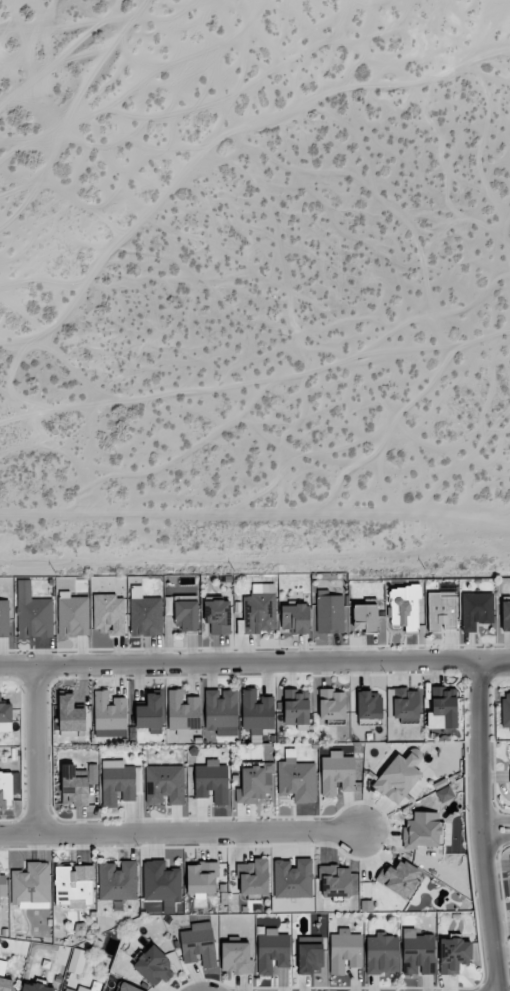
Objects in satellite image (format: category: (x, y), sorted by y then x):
building: (404, 607)
building: (441, 610)
building: (476, 610)
building: (258, 611)
building: (32, 612)
building: (145, 613)
building: (329, 613)
building: (72, 614)
building: (109, 614)
building: (187, 614)
building: (218, 616)
building: (505, 616)
building: (4, 618)
building: (365, 618)
building: (295, 619)
road: (254, 663)
building: (404, 702)
building: (331, 704)
building: (368, 705)
building: (296, 708)
building: (442, 708)
building: (505, 709)
building: (183, 711)
building: (5, 712)
building: (221, 712)
building: (149, 713)
building: (256, 714)
building: (109, 715)
building: (70, 716)
road: (36, 750)
building: (337, 773)
building: (296, 778)
building: (397, 778)
building: (212, 781)
building: (117, 782)
building: (165, 784)
building: (255, 784)
building: (74, 785)
building: (5, 788)
road: (494, 819)
road: (479, 825)
building: (423, 830)
road: (179, 833)
road: (495, 837)
building: (253, 877)
building: (202, 878)
building: (293, 878)
building: (399, 878)
building: (117, 880)
building: (335, 881)
building: (161, 882)
building: (31, 884)
building: (2, 885)
building: (74, 885)
building: (199, 944)
building: (272, 950)
building: (345, 951)
building: (381, 953)
building: (417, 953)
building: (454, 955)
building: (235, 957)
building: (309, 958)
building: (77, 961)
building: (154, 966)
building: (5, 984)
building: (35, 987)
building: (127, 987)
building: (80, 989)

